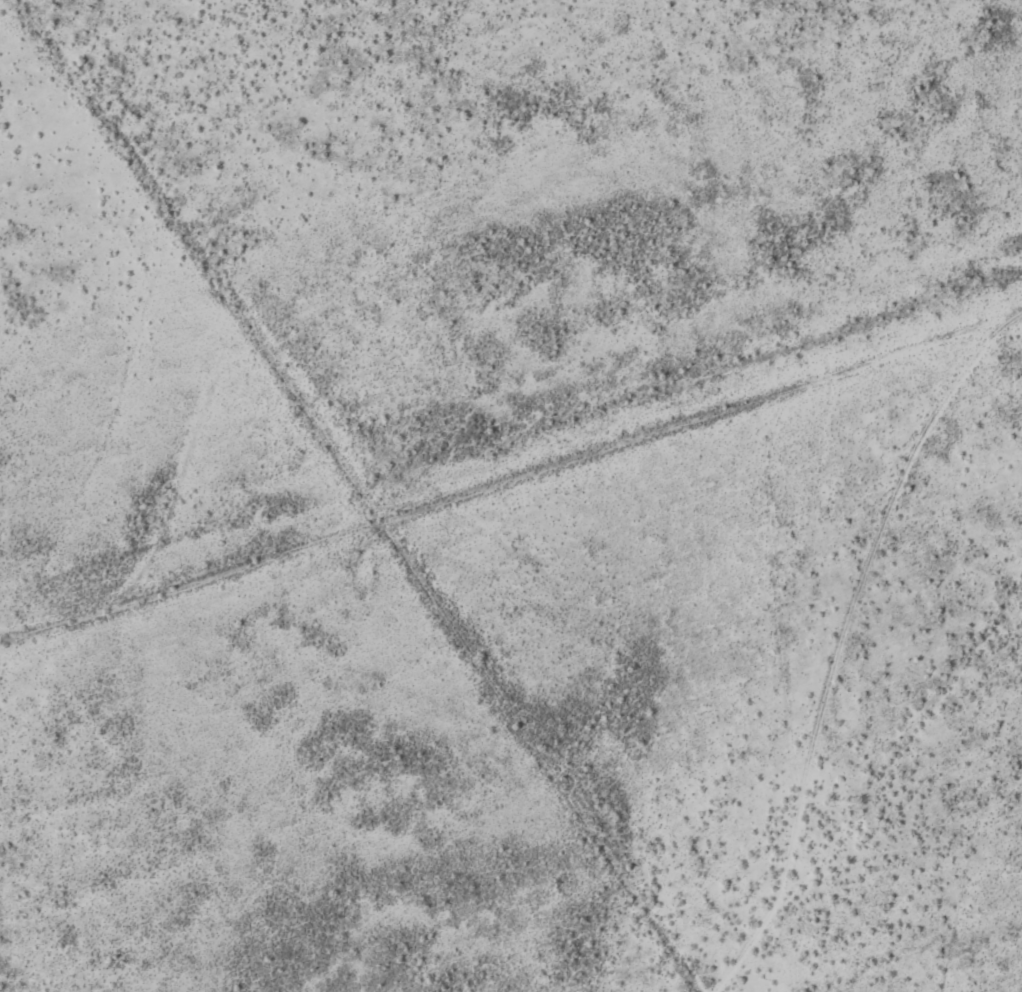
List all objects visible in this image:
road: (210, 257)
road: (513, 485)

